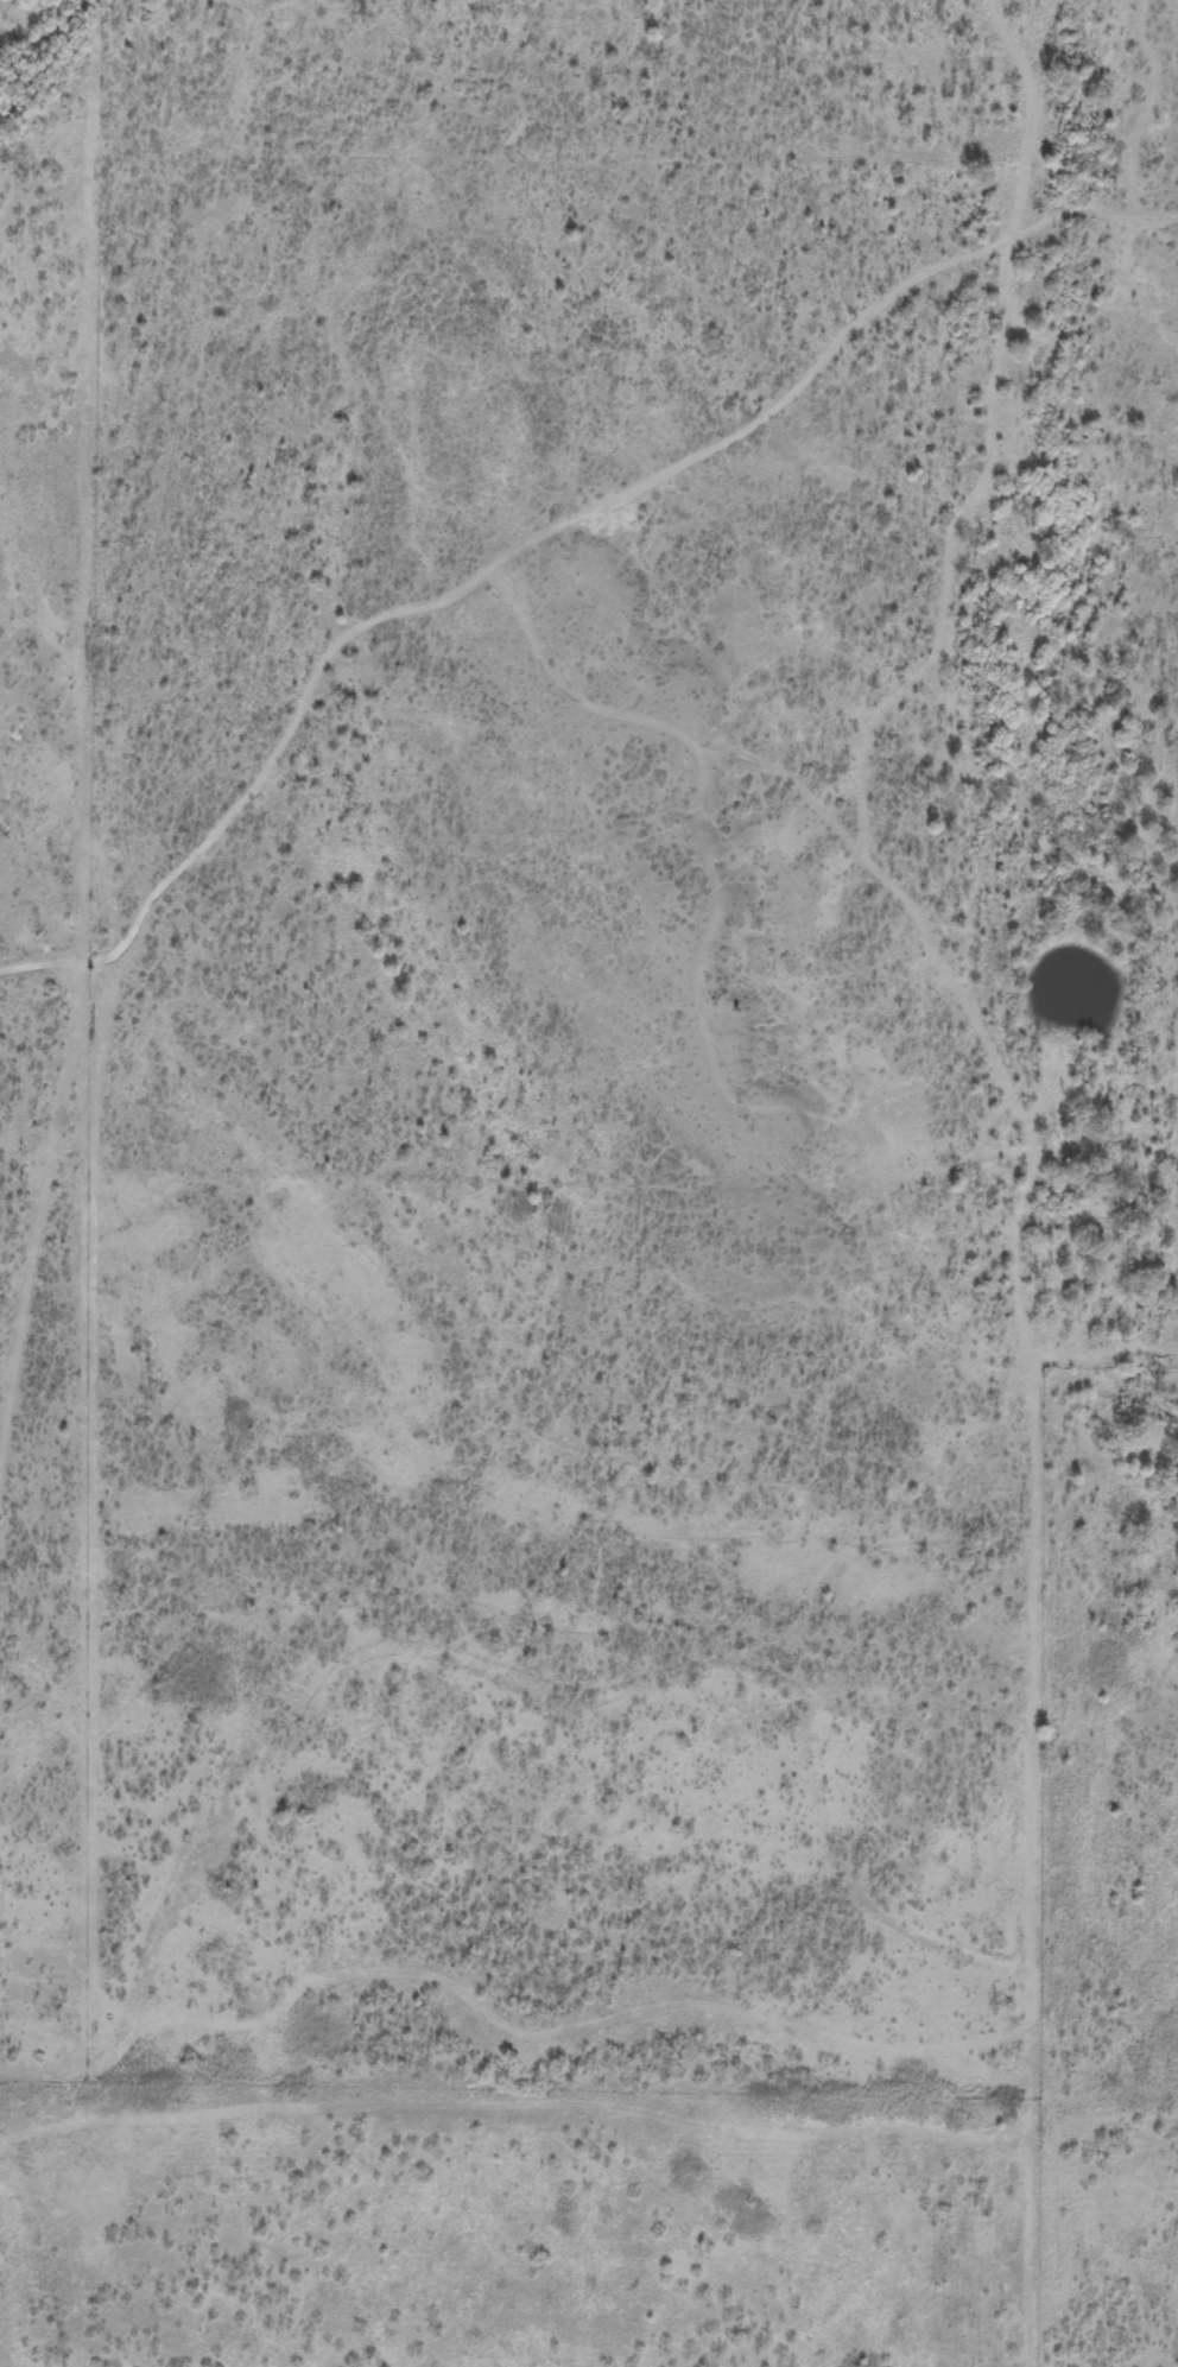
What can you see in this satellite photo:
road: (552, 544)

